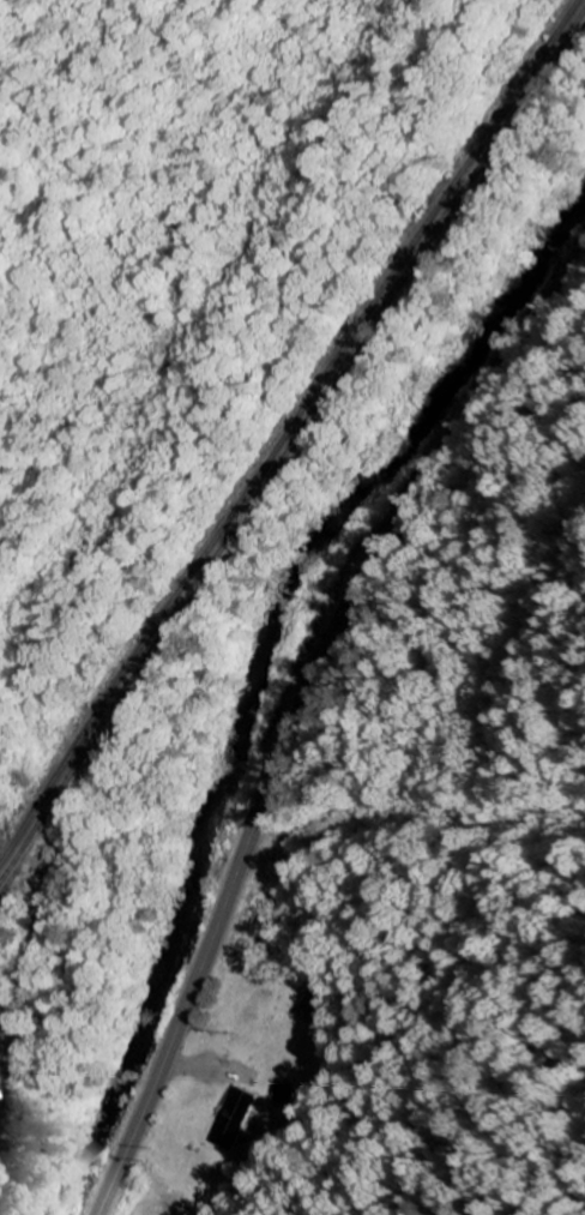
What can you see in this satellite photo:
railway: (292, 446)
road: (298, 714)
building: (321, 1012)
building: (6, 1047)
building: (234, 1120)

